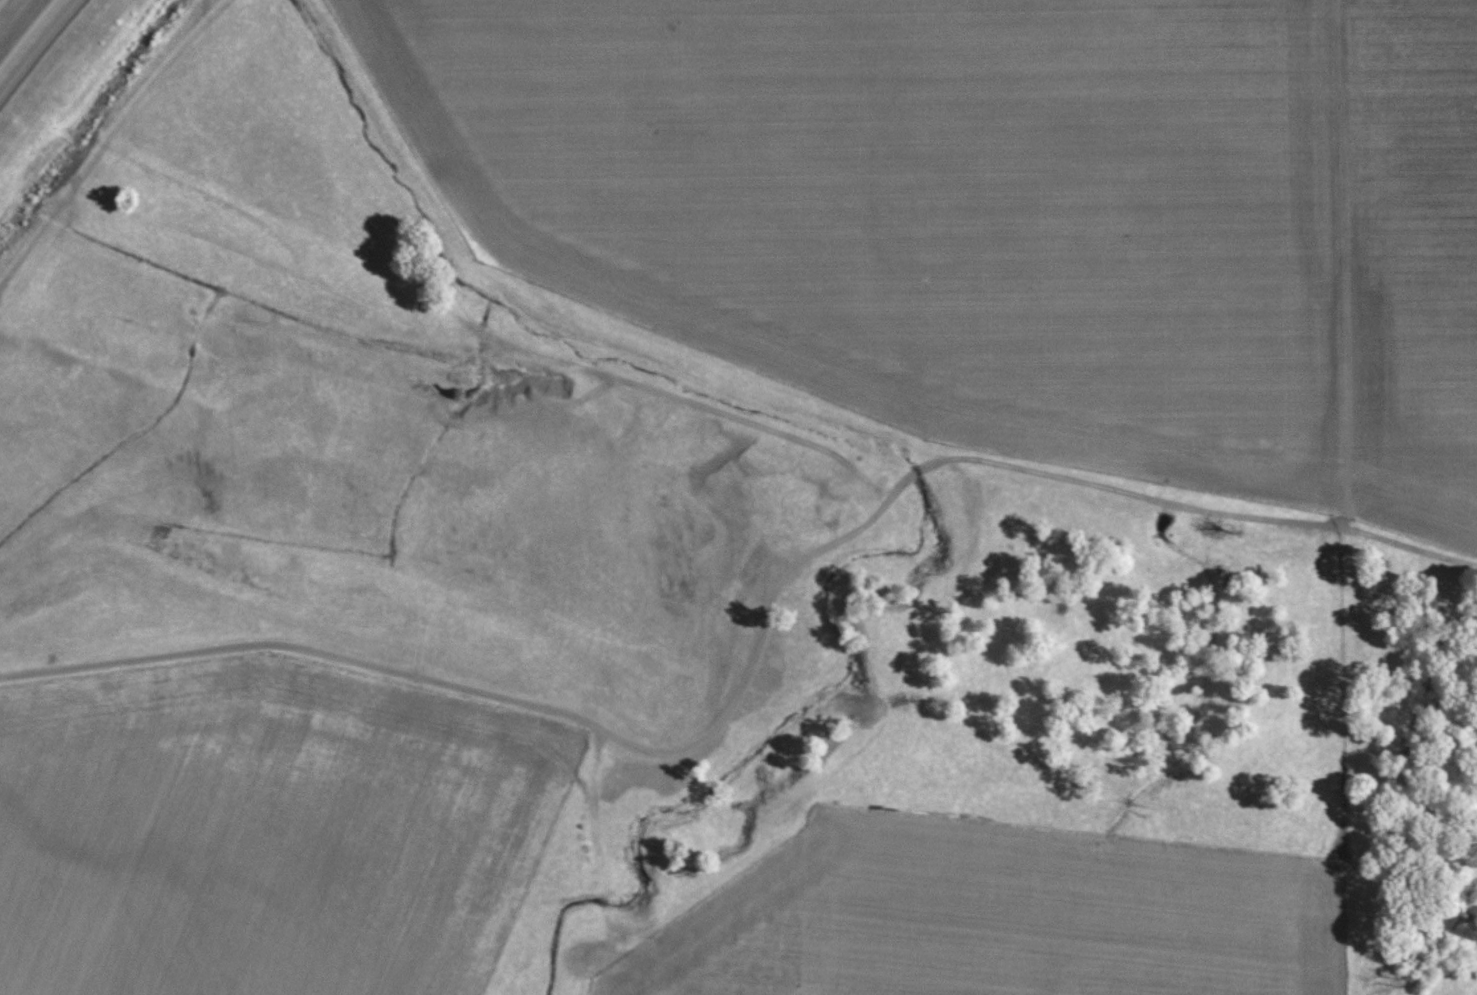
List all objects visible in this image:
road: (11, 12)
road: (49, 58)

